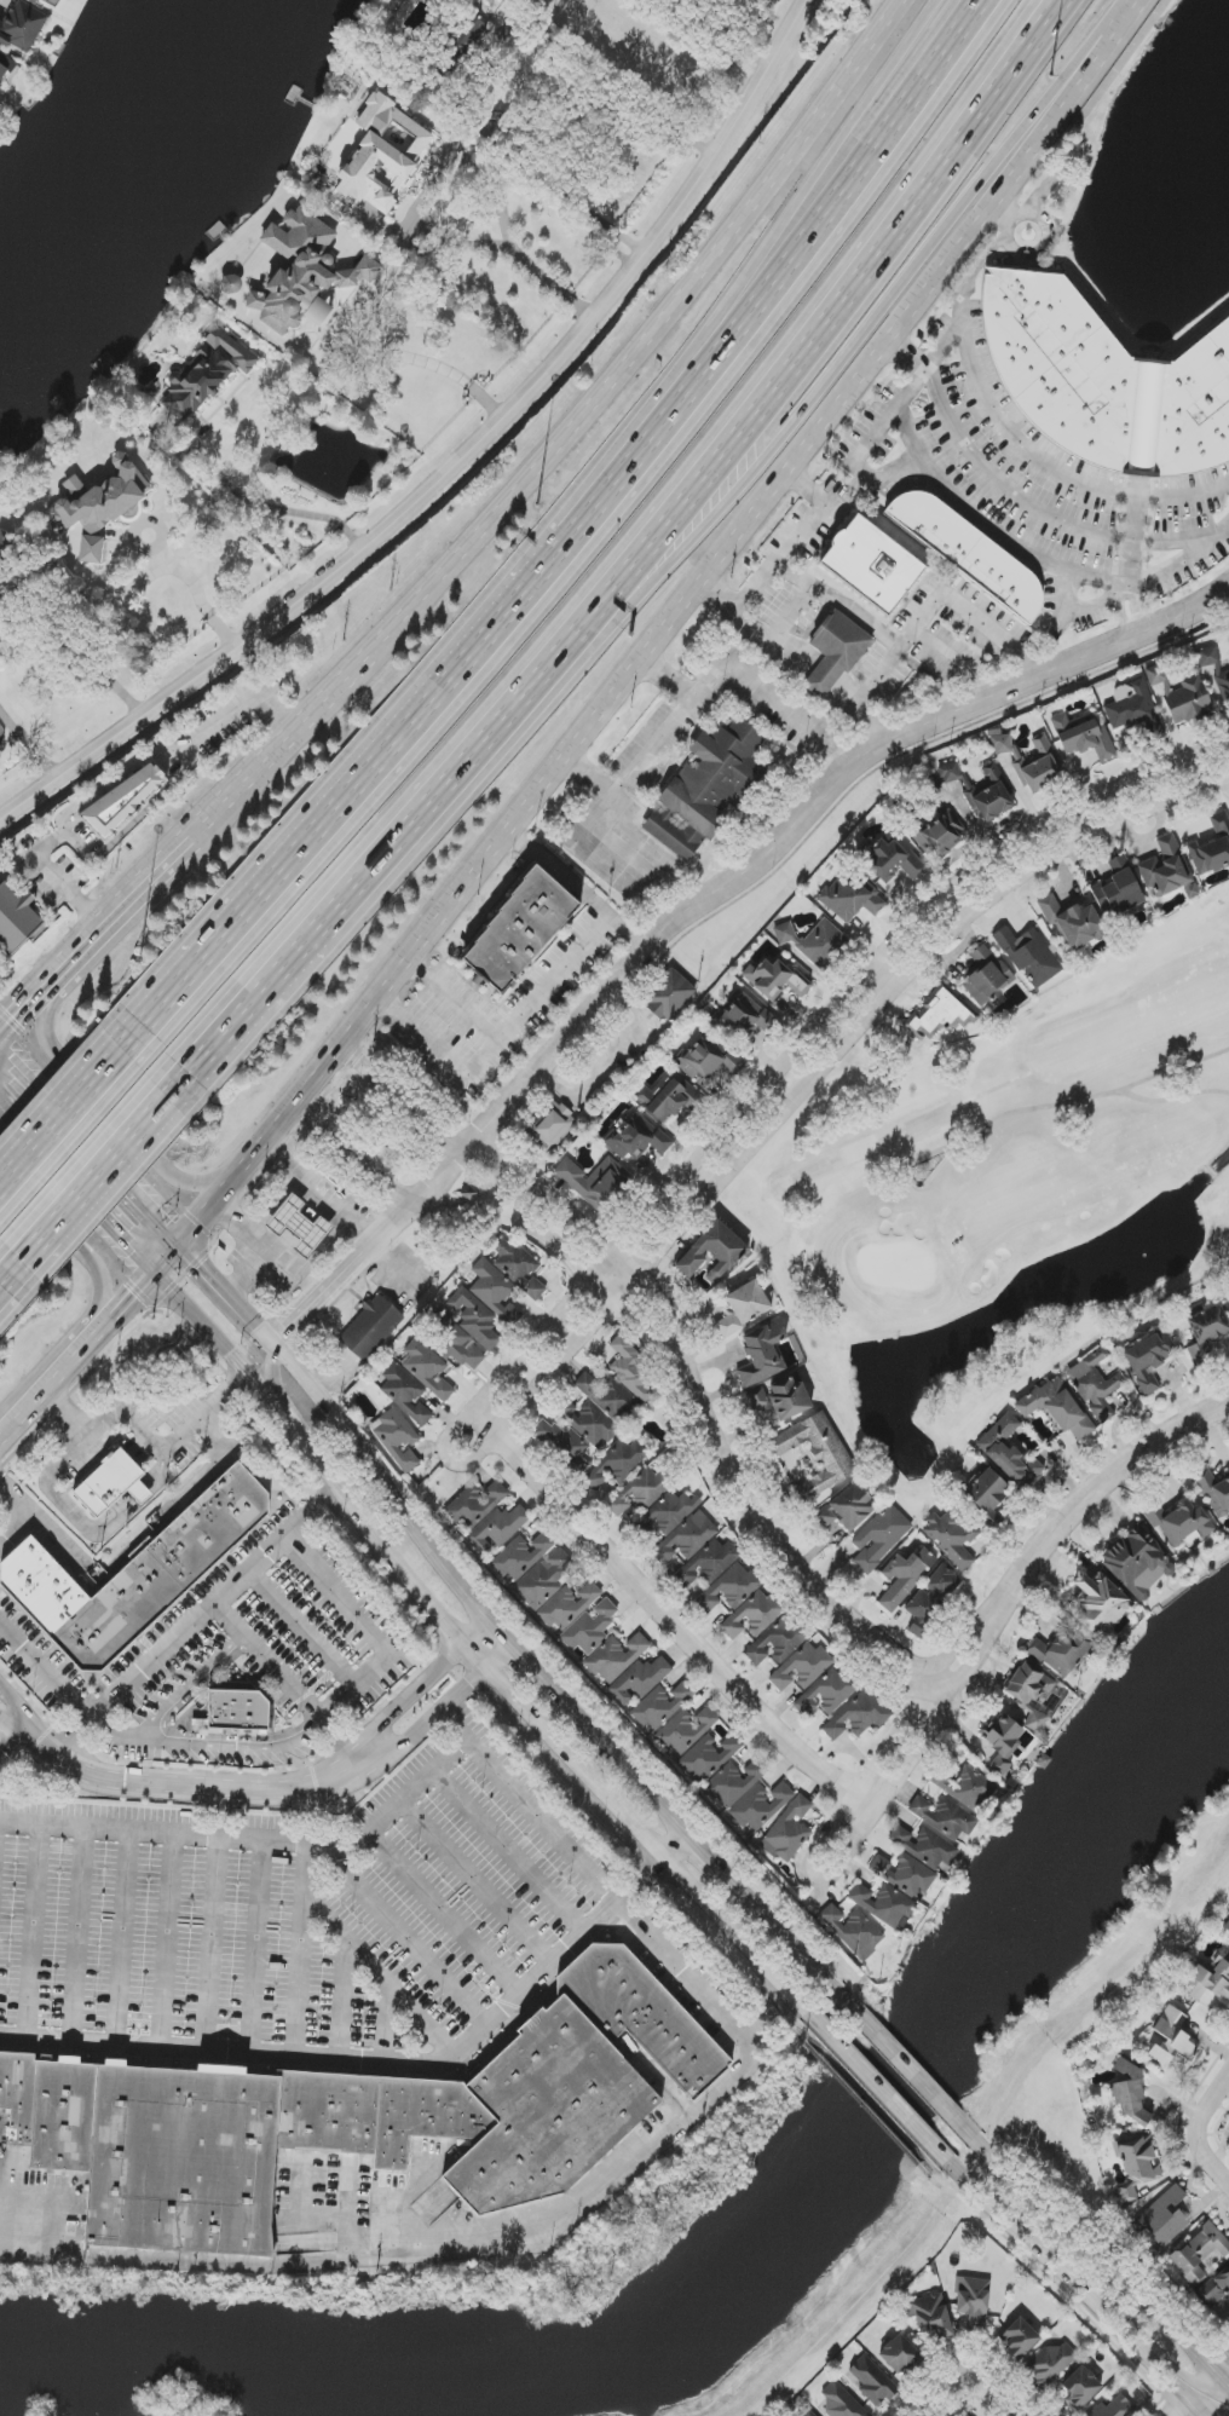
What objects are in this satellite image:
building: (51, 2)
building: (22, 27)
building: (473, 28)
building: (5, 68)
road: (1077, 73)
building: (383, 155)
road: (478, 163)
road: (546, 186)
road: (1042, 196)
road: (802, 200)
road: (1040, 249)
building: (304, 270)
building: (230, 284)
building: (318, 312)
road: (950, 334)
road: (431, 364)
building: (206, 374)
building: (1104, 382)
road: (569, 438)
road: (456, 461)
road: (1052, 469)
road: (883, 478)
road: (696, 480)
road: (1016, 498)
building: (100, 502)
road: (267, 506)
road: (986, 530)
road: (569, 536)
road: (1133, 542)
building: (91, 549)
building: (969, 553)
road: (787, 554)
road: (676, 559)
road: (1183, 563)
building: (872, 565)
road: (156, 570)
road: (1129, 587)
road: (839, 605)
road: (790, 615)
road: (922, 616)
building: (835, 653)
road: (794, 662)
road: (951, 664)
building: (1214, 670)
building: (1155, 675)
road: (669, 680)
building: (1185, 700)
road: (610, 702)
building: (1135, 709)
building: (1083, 737)
road: (29, 740)
building: (1000, 744)
road: (831, 754)
road: (172, 756)
building: (1039, 766)
building: (950, 773)
road: (590, 778)
building: (704, 790)
building: (992, 794)
building: (123, 798)
road: (595, 820)
building: (939, 835)
road: (785, 840)
building: (1212, 847)
road: (31, 850)
road: (80, 852)
building: (892, 860)
building: (1167, 870)
road: (716, 871)
road: (577, 888)
road: (65, 889)
building: (1118, 889)
building: (852, 899)
road: (119, 906)
building: (16, 917)
building: (1072, 922)
building: (526, 934)
building: (814, 941)
building: (1029, 957)
road: (883, 975)
building: (986, 976)
building: (777, 980)
building: (670, 996)
road: (538, 998)
road: (25, 1001)
road: (455, 1002)
traffic signals: (15, 1011)
road: (236, 1014)
building: (942, 1015)
building: (748, 1017)
road: (423, 1037)
road: (794, 1051)
traffic signals: (15, 1057)
building: (710, 1059)
road: (806, 1084)
road: (44, 1091)
building: (668, 1099)
road: (60, 1111)
road: (114, 1119)
building: (552, 1126)
road: (30, 1135)
building: (639, 1138)
road: (91, 1180)
building: (594, 1181)
road: (546, 1188)
road: (134, 1195)
road: (323, 1195)
park: (1003, 1195)
road: (509, 1216)
road: (108, 1221)
building: (302, 1228)
gas station: (302, 1228)
road: (76, 1244)
traffic signals: (132, 1246)
road: (264, 1246)
building: (714, 1251)
road: (168, 1259)
traffic signals: (198, 1267)
building: (518, 1267)
road: (352, 1278)
road: (5, 1282)
traffic signals: (134, 1301)
road: (230, 1301)
building: (484, 1305)
building: (744, 1308)
road: (122, 1313)
building: (371, 1328)
building: (1206, 1331)
building: (458, 1344)
building: (762, 1353)
building: (1149, 1357)
building: (426, 1367)
building: (630, 1368)
building: (1095, 1384)
building: (405, 1392)
road: (44, 1397)
building: (781, 1399)
road: (281, 1400)
building: (1056, 1408)
building: (600, 1409)
road: (295, 1435)
building: (397, 1438)
road: (149, 1441)
building: (564, 1446)
building: (1009, 1452)
building: (817, 1453)
building: (617, 1464)
road: (1106, 1480)
building: (112, 1484)
building: (640, 1492)
road: (391, 1493)
building: (1214, 1493)
building: (987, 1495)
building: (475, 1505)
building: (847, 1507)
building: (1181, 1523)
building: (497, 1528)
road: (15, 1529)
road: (87, 1530)
building: (879, 1538)
building: (952, 1538)
building: (689, 1540)
road: (128, 1556)
building: (521, 1556)
road: (795, 1563)
building: (139, 1576)
building: (905, 1576)
building: (544, 1579)
building: (933, 1599)
building: (740, 1602)
building: (1100, 1604)
building: (569, 1605)
road: (670, 1616)
road: (198, 1620)
road: (304, 1627)
road: (450, 1628)
building: (589, 1628)
road: (485, 1644)
building: (1060, 1650)
building: (790, 1655)
building: (616, 1657)
road: (533, 1672)
road: (44, 1677)
building: (639, 1680)
road: (356, 1683)
road: (463, 1689)
building: (829, 1691)
building: (1031, 1694)
road: (412, 1695)
road: (18, 1703)
building: (662, 1706)
building: (241, 1711)
building: (858, 1716)
road: (15, 1723)
road: (899, 1728)
building: (685, 1730)
road: (123, 1735)
road: (174, 1740)
road: (15, 1741)
road: (406, 1741)
road: (922, 1742)
building: (1002, 1742)
road: (569, 1758)
building: (708, 1758)
road: (630, 1775)
building: (733, 1783)
road: (195, 1787)
building: (968, 1788)
building: (761, 1805)
road: (527, 1809)
road: (223, 1814)
building: (944, 1816)
building: (789, 1832)
road: (249, 1838)
building: (928, 1849)
road: (677, 1850)
road: (509, 1852)
road: (719, 1868)
building: (904, 1874)
road: (641, 1882)
road: (475, 1884)
building: (883, 1904)
road: (442, 1914)
road: (602, 1918)
building: (1227, 1928)
building: (853, 1931)
road: (34, 1932)
road: (77, 1934)
road: (119, 1937)
road: (400, 1938)
road: (738, 1939)
road: (167, 1941)
road: (213, 1944)
road: (254, 1947)
road: (792, 1947)
road: (302, 1950)
road: (379, 1978)
road: (687, 1978)
building: (1207, 1979)
road: (344, 2002)
building: (641, 2014)
road: (387, 2026)
building: (1170, 2037)
road: (318, 2060)
road: (905, 2068)
road: (653, 2078)
road: (881, 2093)
building: (18, 2094)
building: (1130, 2094)
building: (548, 2111)
building: (63, 2115)
building: (374, 2115)
road: (1201, 2134)
building: (183, 2160)
building: (1137, 2166)
building: (1162, 2218)
road: (449, 2239)
building: (1199, 2253)
road: (1101, 2265)
road: (1062, 2283)
building: (1216, 2294)
building: (973, 2301)
building: (930, 2316)
building: (1019, 2339)
building: (900, 2354)
building: (1052, 2362)
road: (970, 2363)
road: (1219, 2363)
road: (1171, 2365)
building: (873, 2382)
building: (1080, 2387)
building: (839, 2400)
road: (1198, 2406)
building: (1114, 2408)
road: (1167, 2408)
road: (1183, 2408)
building: (808, 2414)

